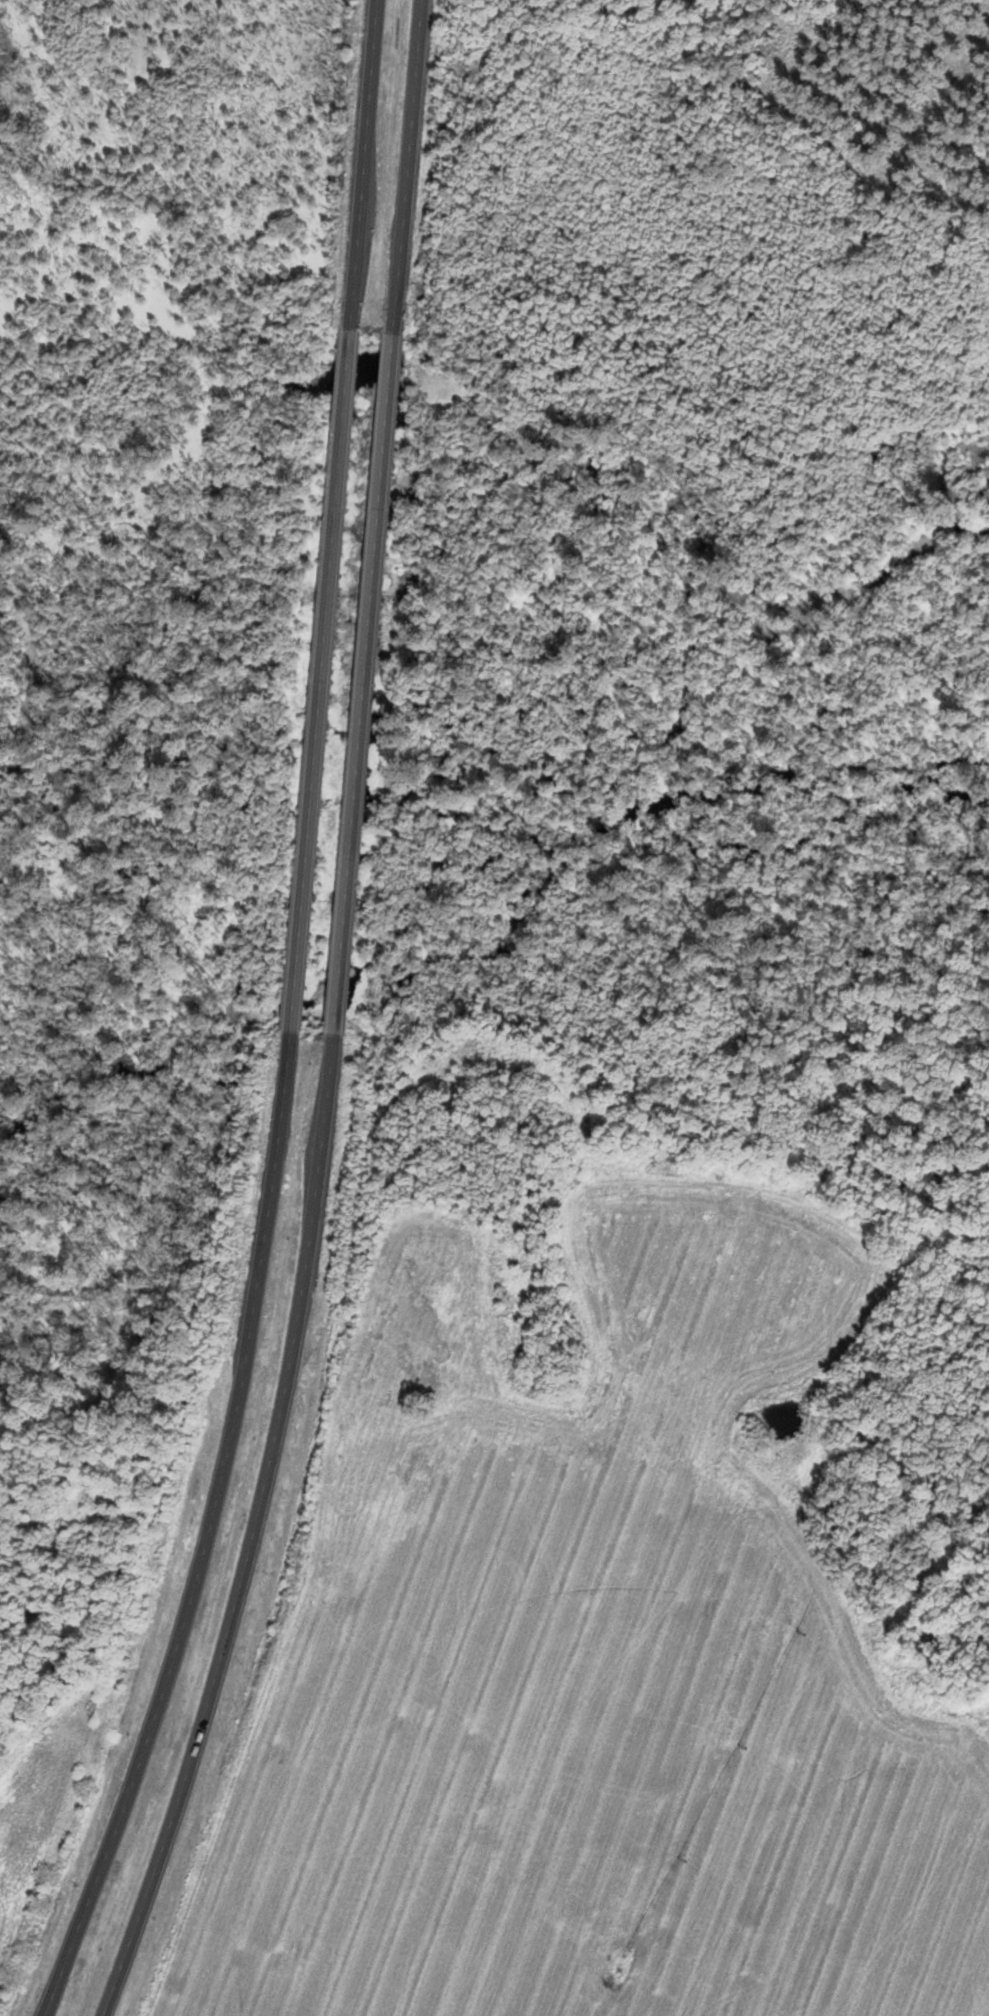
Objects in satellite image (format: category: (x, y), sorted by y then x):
road: (366, 164)
road: (410, 166)
building: (372, 588)
road: (322, 679)
road: (365, 682)
road: (221, 1535)
road: (271, 1536)

